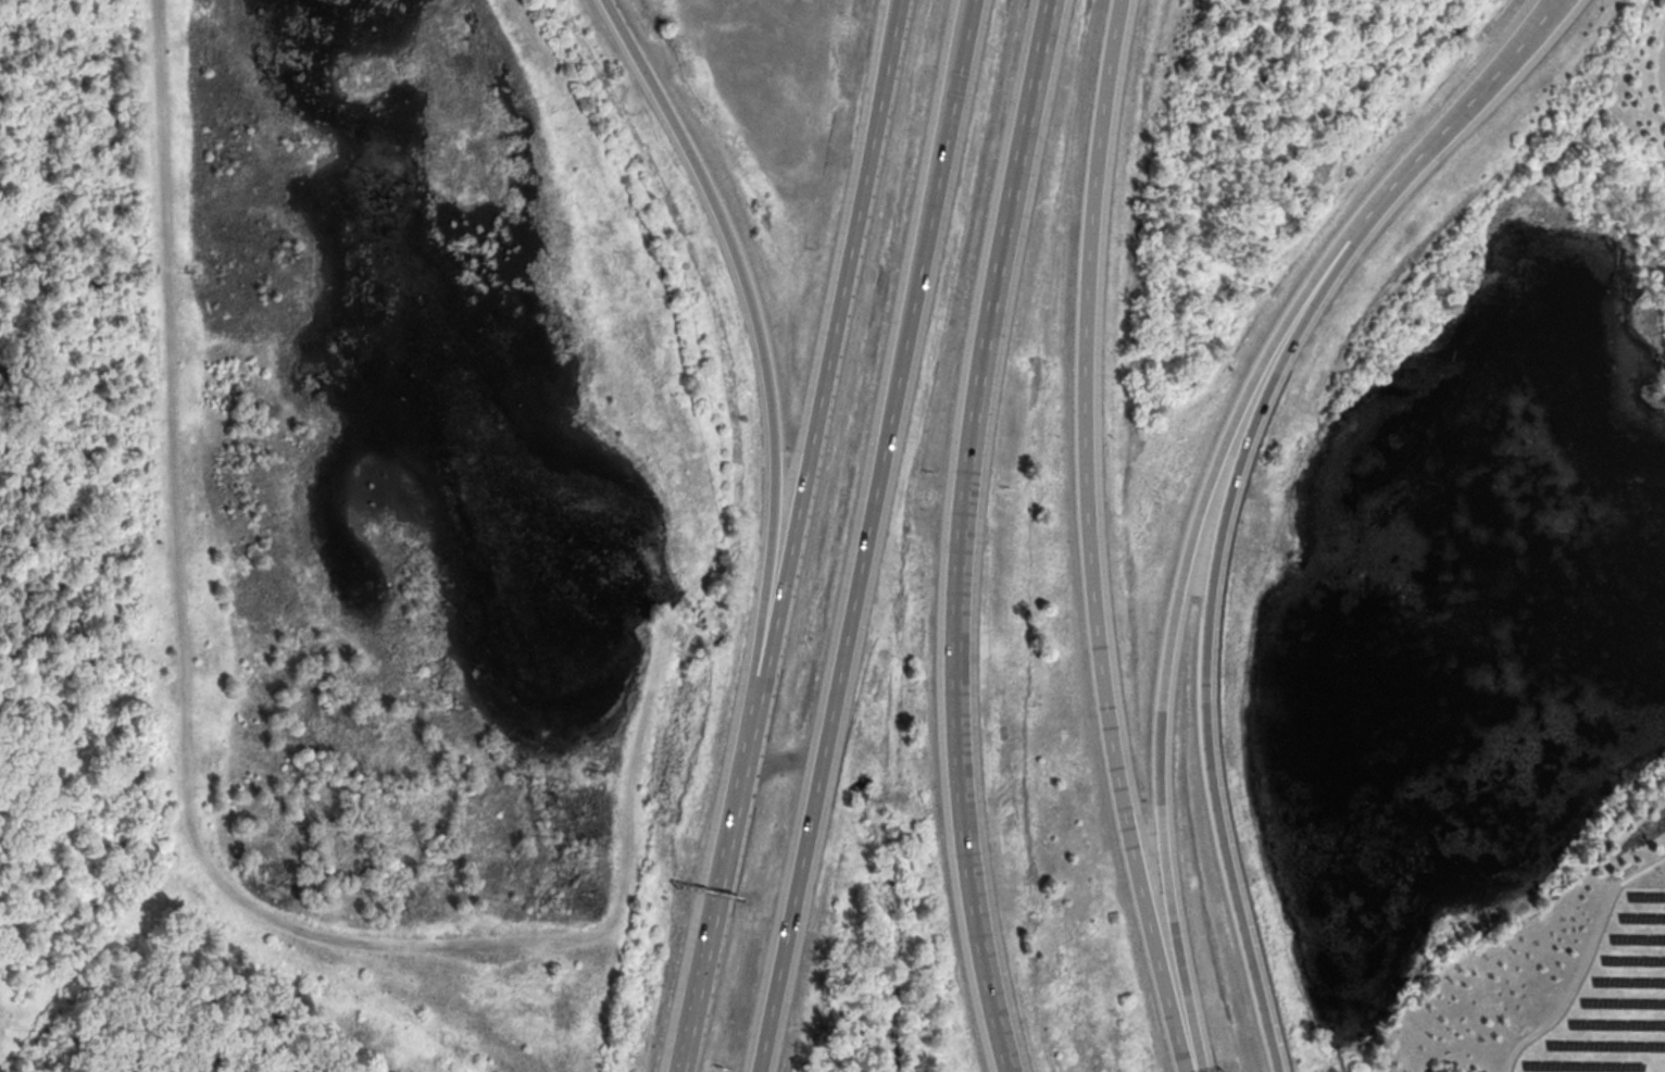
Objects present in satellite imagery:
road: (1664, 66)
road: (1463, 108)
road: (1089, 220)
road: (766, 365)
road: (824, 384)
road: (960, 534)
road: (865, 536)
road: (1170, 619)
road: (1207, 628)
road: (1115, 760)
road: (710, 919)
road: (1579, 959)

